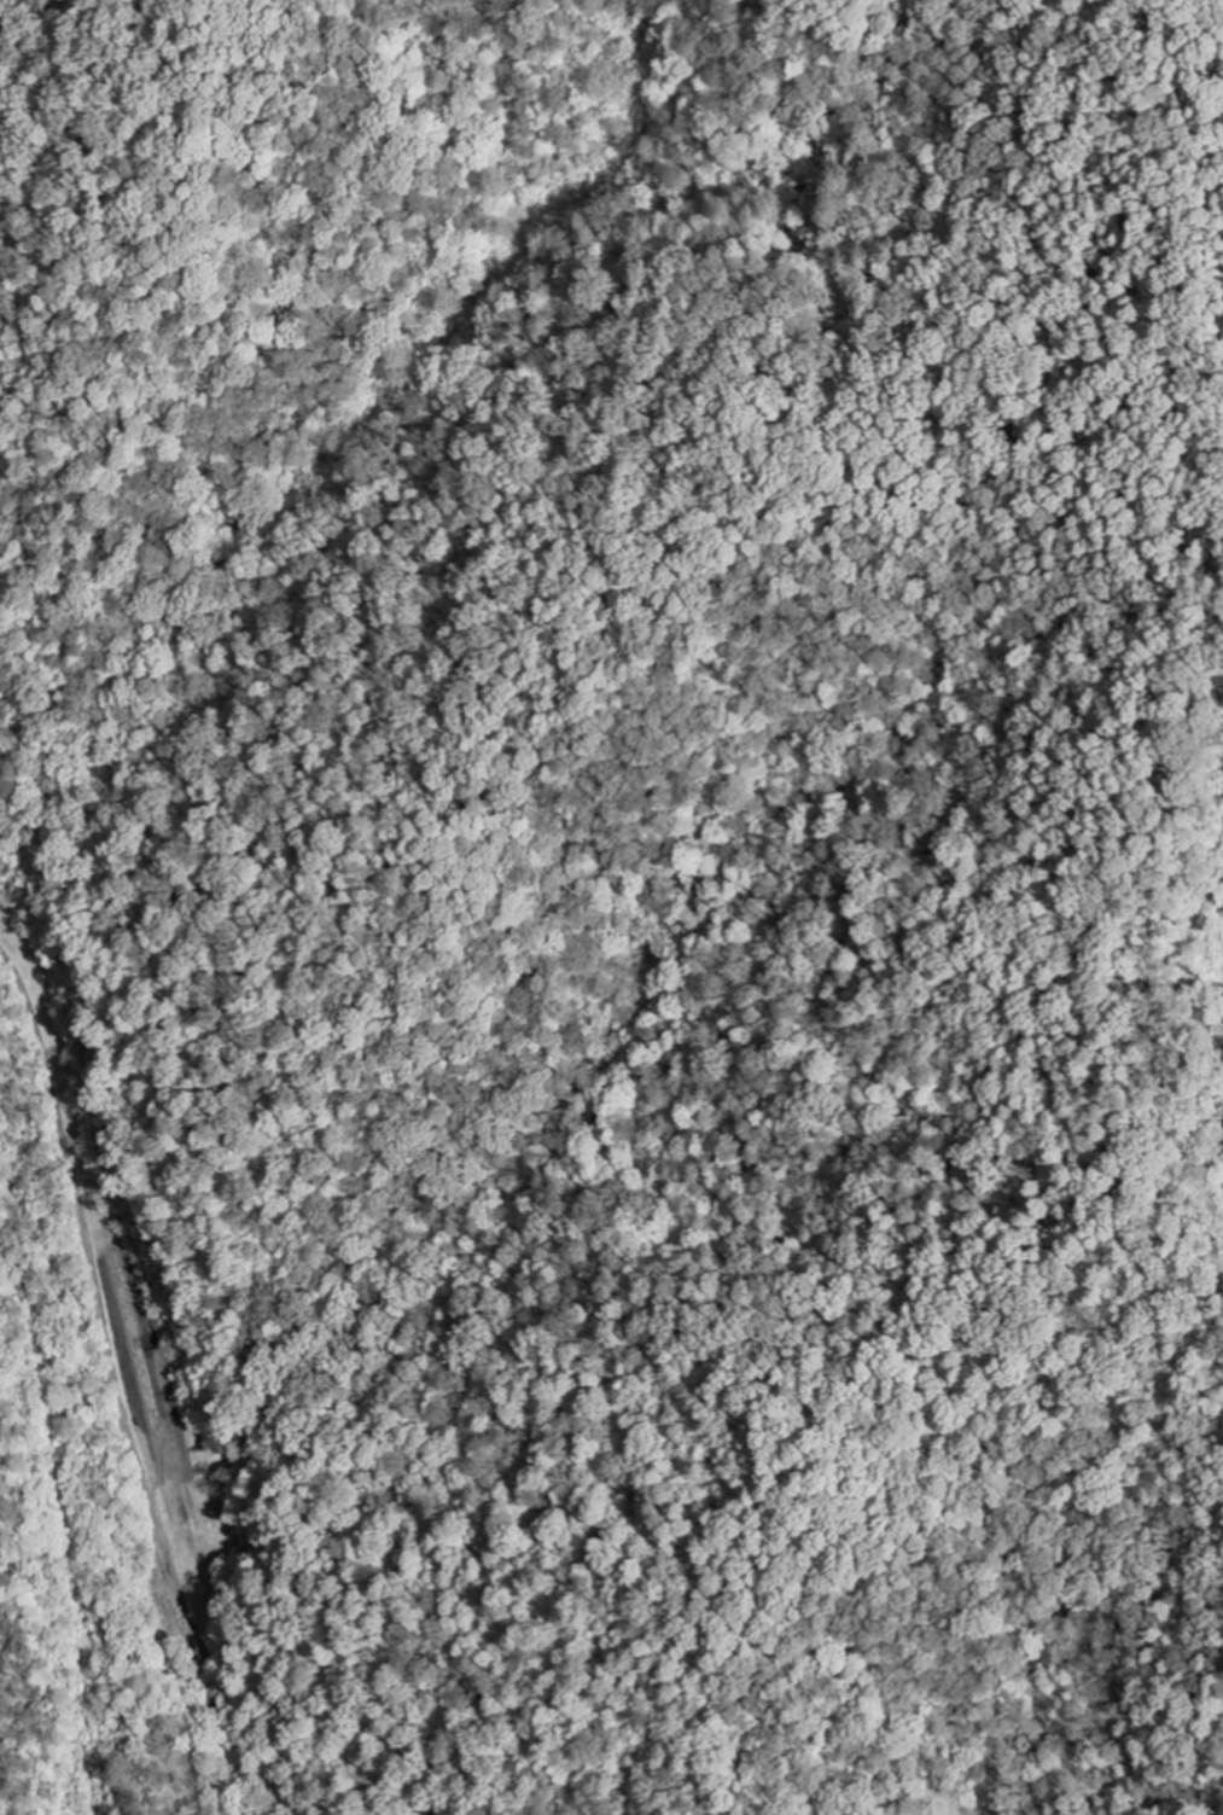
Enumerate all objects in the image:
road: (113, 1392)

